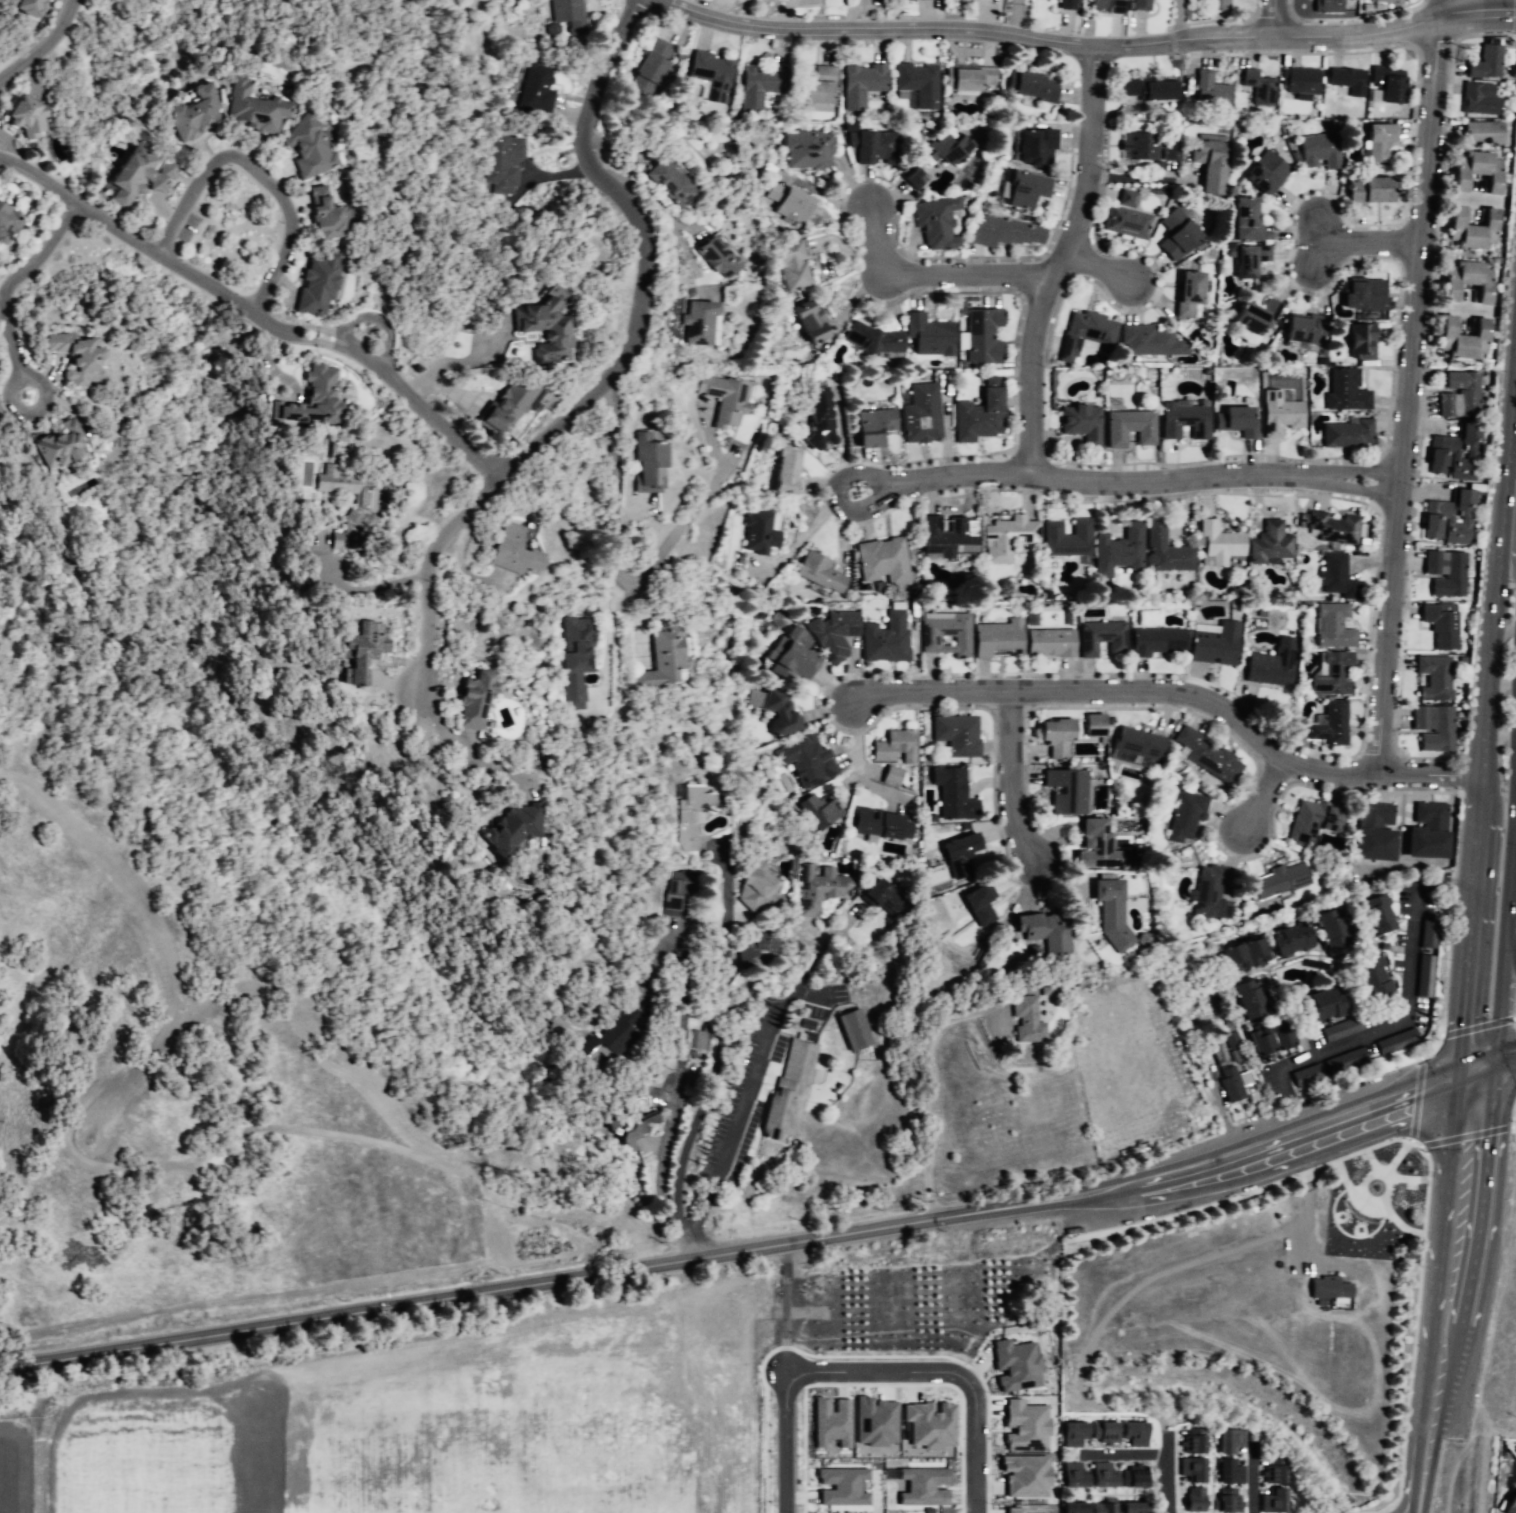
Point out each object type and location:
building: (1385, 1)
building: (1065, 3)
building: (1107, 5)
building: (1141, 5)
building: (1216, 5)
building: (1326, 6)
building: (28, 7)
road: (1497, 14)
building: (566, 15)
road: (1019, 18)
road: (1277, 18)
road: (1180, 20)
road: (1515, 25)
road: (1071, 40)
road: (40, 43)
building: (1483, 62)
building: (651, 64)
building: (712, 74)
building: (1344, 77)
building: (966, 78)
building: (1298, 79)
building: (919, 83)
building: (1386, 83)
building: (758, 84)
building: (859, 84)
building: (817, 86)
building: (1145, 87)
building: (534, 88)
building: (1031, 88)
building: (1257, 88)
building: (1209, 89)
building: (1475, 98)
building: (251, 107)
building: (187, 111)
building: (19, 117)
building: (1480, 133)
building: (1376, 139)
building: (871, 144)
building: (1032, 146)
building: (1146, 146)
building: (806, 149)
building: (303, 150)
building: (1317, 150)
building: (947, 152)
building: (502, 162)
building: (1209, 166)
road: (259, 170)
building: (1268, 171)
building: (160, 172)
building: (1471, 172)
building: (121, 176)
building: (911, 176)
road: (1138, 178)
building: (665, 182)
building: (1022, 190)
building: (1366, 190)
building: (783, 203)
building: (1, 207)
road: (663, 211)
building: (315, 213)
building: (1126, 216)
building: (1244, 221)
building: (936, 222)
building: (4, 226)
building: (1466, 229)
building: (997, 230)
parking lot: (183, 232)
building: (1175, 234)
road: (1319, 241)
road: (1371, 246)
road: (40, 250)
road: (156, 253)
building: (712, 256)
road: (1057, 259)
building: (1248, 259)
road: (1097, 264)
building: (789, 266)
road: (939, 275)
building: (1463, 282)
building: (314, 283)
building: (1186, 292)
building: (1362, 292)
road: (1453, 309)
building: (1254, 315)
building: (807, 320)
building: (694, 321)
road: (377, 322)
building: (532, 325)
building: (1301, 328)
building: (1091, 330)
road: (7, 337)
building: (931, 337)
building: (981, 338)
building: (870, 339)
building: (1357, 341)
building: (1149, 342)
building: (1459, 342)
building: (70, 359)
road: (615, 366)
road: (1408, 384)
building: (1346, 392)
road: (416, 396)
building: (1456, 397)
building: (305, 400)
building: (720, 402)
road: (42, 403)
building: (532, 403)
building: (979, 414)
building: (1278, 414)
building: (921, 415)
road: (1511, 415)
building: (1183, 418)
building: (490, 420)
building: (1235, 420)
building: (818, 421)
building: (1078, 421)
building: (869, 427)
building: (1127, 427)
building: (1347, 436)
building: (54, 446)
building: (1452, 455)
building: (640, 464)
building: (782, 470)
road: (1138, 485)
road: (837, 499)
building: (359, 508)
road: (1503, 515)
building: (1446, 519)
building: (1332, 528)
building: (528, 531)
building: (754, 533)
building: (1066, 538)
building: (945, 539)
building: (1026, 542)
building: (1216, 544)
building: (1268, 544)
building: (1163, 549)
building: (1116, 550)
building: (510, 553)
road: (1508, 557)
building: (881, 561)
building: (815, 572)
building: (1444, 572)
road: (615, 573)
building: (1335, 575)
road: (369, 588)
building: (1438, 626)
building: (1332, 628)
building: (832, 633)
building: (797, 634)
building: (943, 635)
road: (605, 637)
building: (993, 638)
building: (884, 639)
building: (1099, 639)
building: (1154, 641)
building: (1046, 642)
building: (1214, 646)
building: (357, 650)
building: (661, 651)
building: (791, 661)
road: (1491, 664)
building: (571, 665)
building: (1269, 669)
building: (1331, 675)
building: (1432, 677)
road: (1154, 691)
building: (468, 703)
building: (776, 715)
building: (1330, 725)
building: (1431, 728)
building: (1090, 729)
building: (956, 736)
road: (856, 737)
building: (1052, 738)
building: (895, 744)
building: (1134, 747)
road: (457, 751)
building: (1204, 756)
building: (807, 762)
road: (1455, 775)
building: (888, 777)
road: (1016, 778)
building: (1064, 790)
building: (952, 794)
road: (1259, 797)
road: (1481, 800)
building: (693, 803)
building: (1185, 815)
building: (1373, 815)
building: (1433, 815)
building: (812, 816)
building: (1310, 822)
building: (877, 826)
building: (512, 832)
road: (1512, 832)
road: (1456, 835)
building: (1094, 840)
building: (1422, 844)
building: (1370, 846)
building: (957, 858)
building: (1278, 883)
building: (748, 891)
building: (814, 891)
building: (669, 894)
building: (1208, 894)
building: (880, 898)
building: (976, 908)
building: (1371, 910)
building: (1108, 913)
road: (1506, 913)
building: (1038, 929)
building: (1327, 930)
building: (1425, 934)
building: (1286, 941)
building: (748, 948)
road: (1469, 948)
building: (1251, 952)
road: (1509, 955)
building: (1232, 957)
road: (1445, 972)
building: (1367, 977)
building: (1422, 982)
road: (1405, 995)
building: (1245, 1000)
building: (1317, 1007)
road: (1497, 1010)
building: (1026, 1019)
road: (1479, 1025)
building: (695, 1029)
building: (853, 1030)
building: (1338, 1030)
building: (616, 1033)
road: (718, 1035)
building: (1277, 1035)
building: (1393, 1040)
building: (1228, 1041)
building: (1255, 1042)
building: (1219, 1052)
building: (1341, 1060)
road: (1495, 1064)
parking lot: (766, 1065)
traffic signals: (1475, 1072)
building: (1302, 1075)
road: (676, 1078)
building: (1227, 1084)
road: (923, 1086)
building: (792, 1092)
road: (1415, 1097)
road: (743, 1098)
road: (1514, 1117)
road: (1465, 1135)
road: (1311, 1137)
building: (628, 1141)
road: (1460, 1197)
road: (1228, 1250)
road: (571, 1279)
building: (1325, 1284)
road: (784, 1310)
road: (1414, 1322)
road: (862, 1355)
building: (1016, 1364)
road: (804, 1372)
road: (1436, 1379)
road: (879, 1384)
road: (1093, 1405)
building: (831, 1421)
building: (874, 1421)
building: (929, 1423)
building: (1025, 1425)
building: (1102, 1431)
building: (1072, 1432)
building: (1130, 1433)
building: (1190, 1440)
building: (1229, 1441)
road: (1168, 1443)
road: (974, 1444)
road: (1125, 1455)
road: (1424, 1462)
building: (1190, 1470)
building: (1228, 1471)
building: (1270, 1472)
building: (1097, 1474)
building: (1025, 1475)
building: (1071, 1477)
building: (1131, 1478)
road: (1251, 1478)
road: (1168, 1484)
building: (923, 1485)
building: (842, 1486)
road: (1406, 1500)
building: (1191, 1501)
road: (1418, 1501)
building: (1226, 1502)
building: (1270, 1502)
building: (1510, 1504)
building: (1072, 1507)
building: (1130, 1507)
building: (1099, 1508)
building: (1013, 1510)
road: (1388, 1511)

